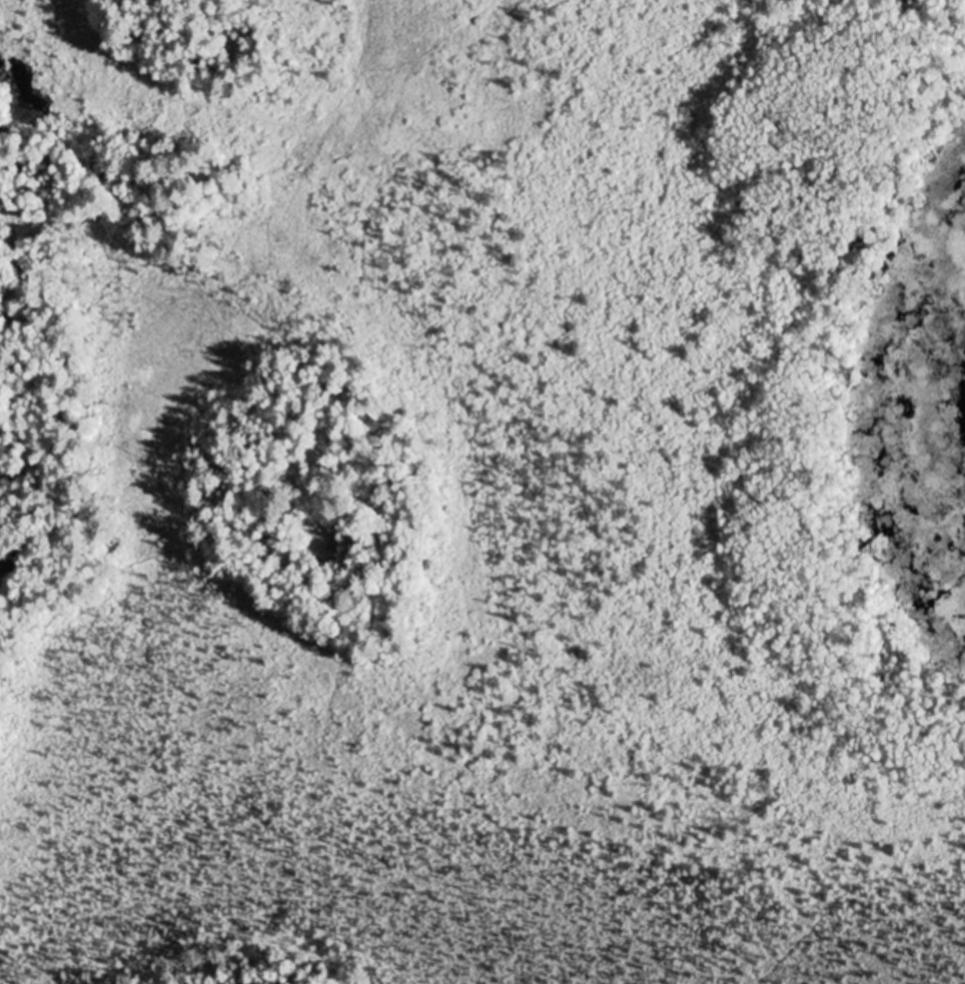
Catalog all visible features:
building: (6, 565)

